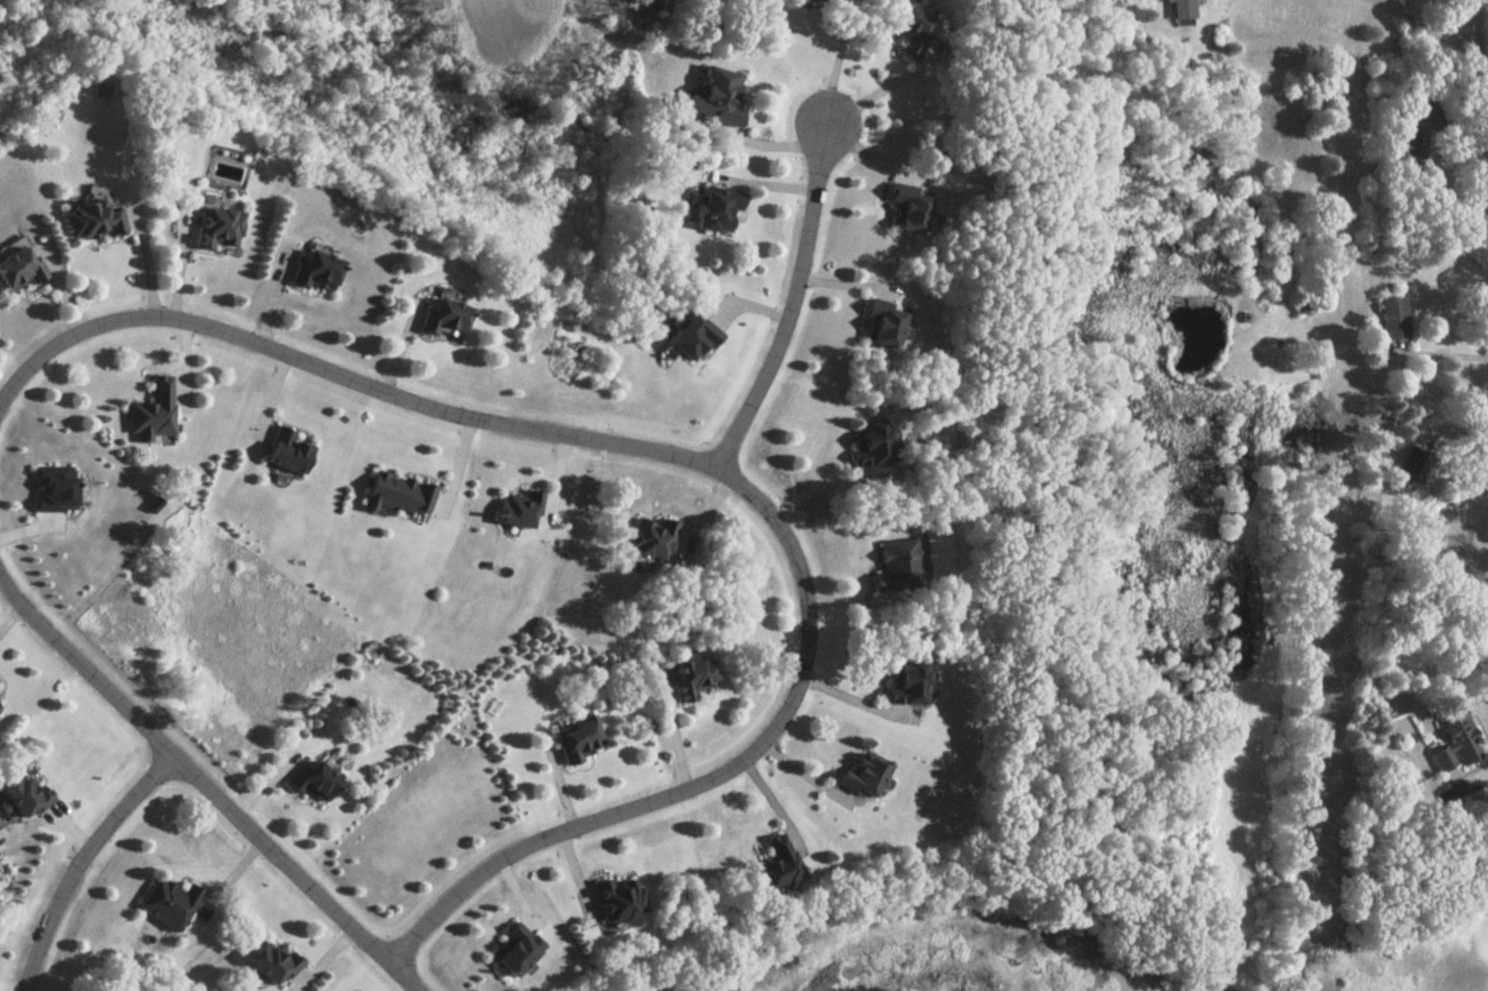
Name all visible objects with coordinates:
building: (809, 0)
building: (1179, 9)
road: (1420, 23)
building: (909, 27)
road: (839, 59)
road: (1464, 66)
road: (874, 93)
building: (711, 97)
building: (1412, 136)
building: (712, 209)
building: (906, 209)
building: (91, 221)
building: (213, 229)
building: (17, 266)
building: (311, 273)
road: (794, 300)
building: (437, 318)
building: (1390, 319)
building: (880, 329)
building: (690, 339)
road: (1454, 356)
building: (150, 412)
road: (1466, 429)
building: (869, 441)
building: (1412, 465)
road: (818, 488)
building: (516, 510)
building: (648, 538)
building: (896, 567)
building: (688, 677)
building: (907, 682)
road: (794, 704)
road: (678, 733)
building: (573, 739)
building: (1450, 740)
building: (857, 775)
road: (1470, 786)
building: (20, 796)
road: (81, 860)
building: (773, 864)
building: (612, 898)
building: (165, 902)
building: (510, 950)
building: (268, 964)
road: (400, 976)

